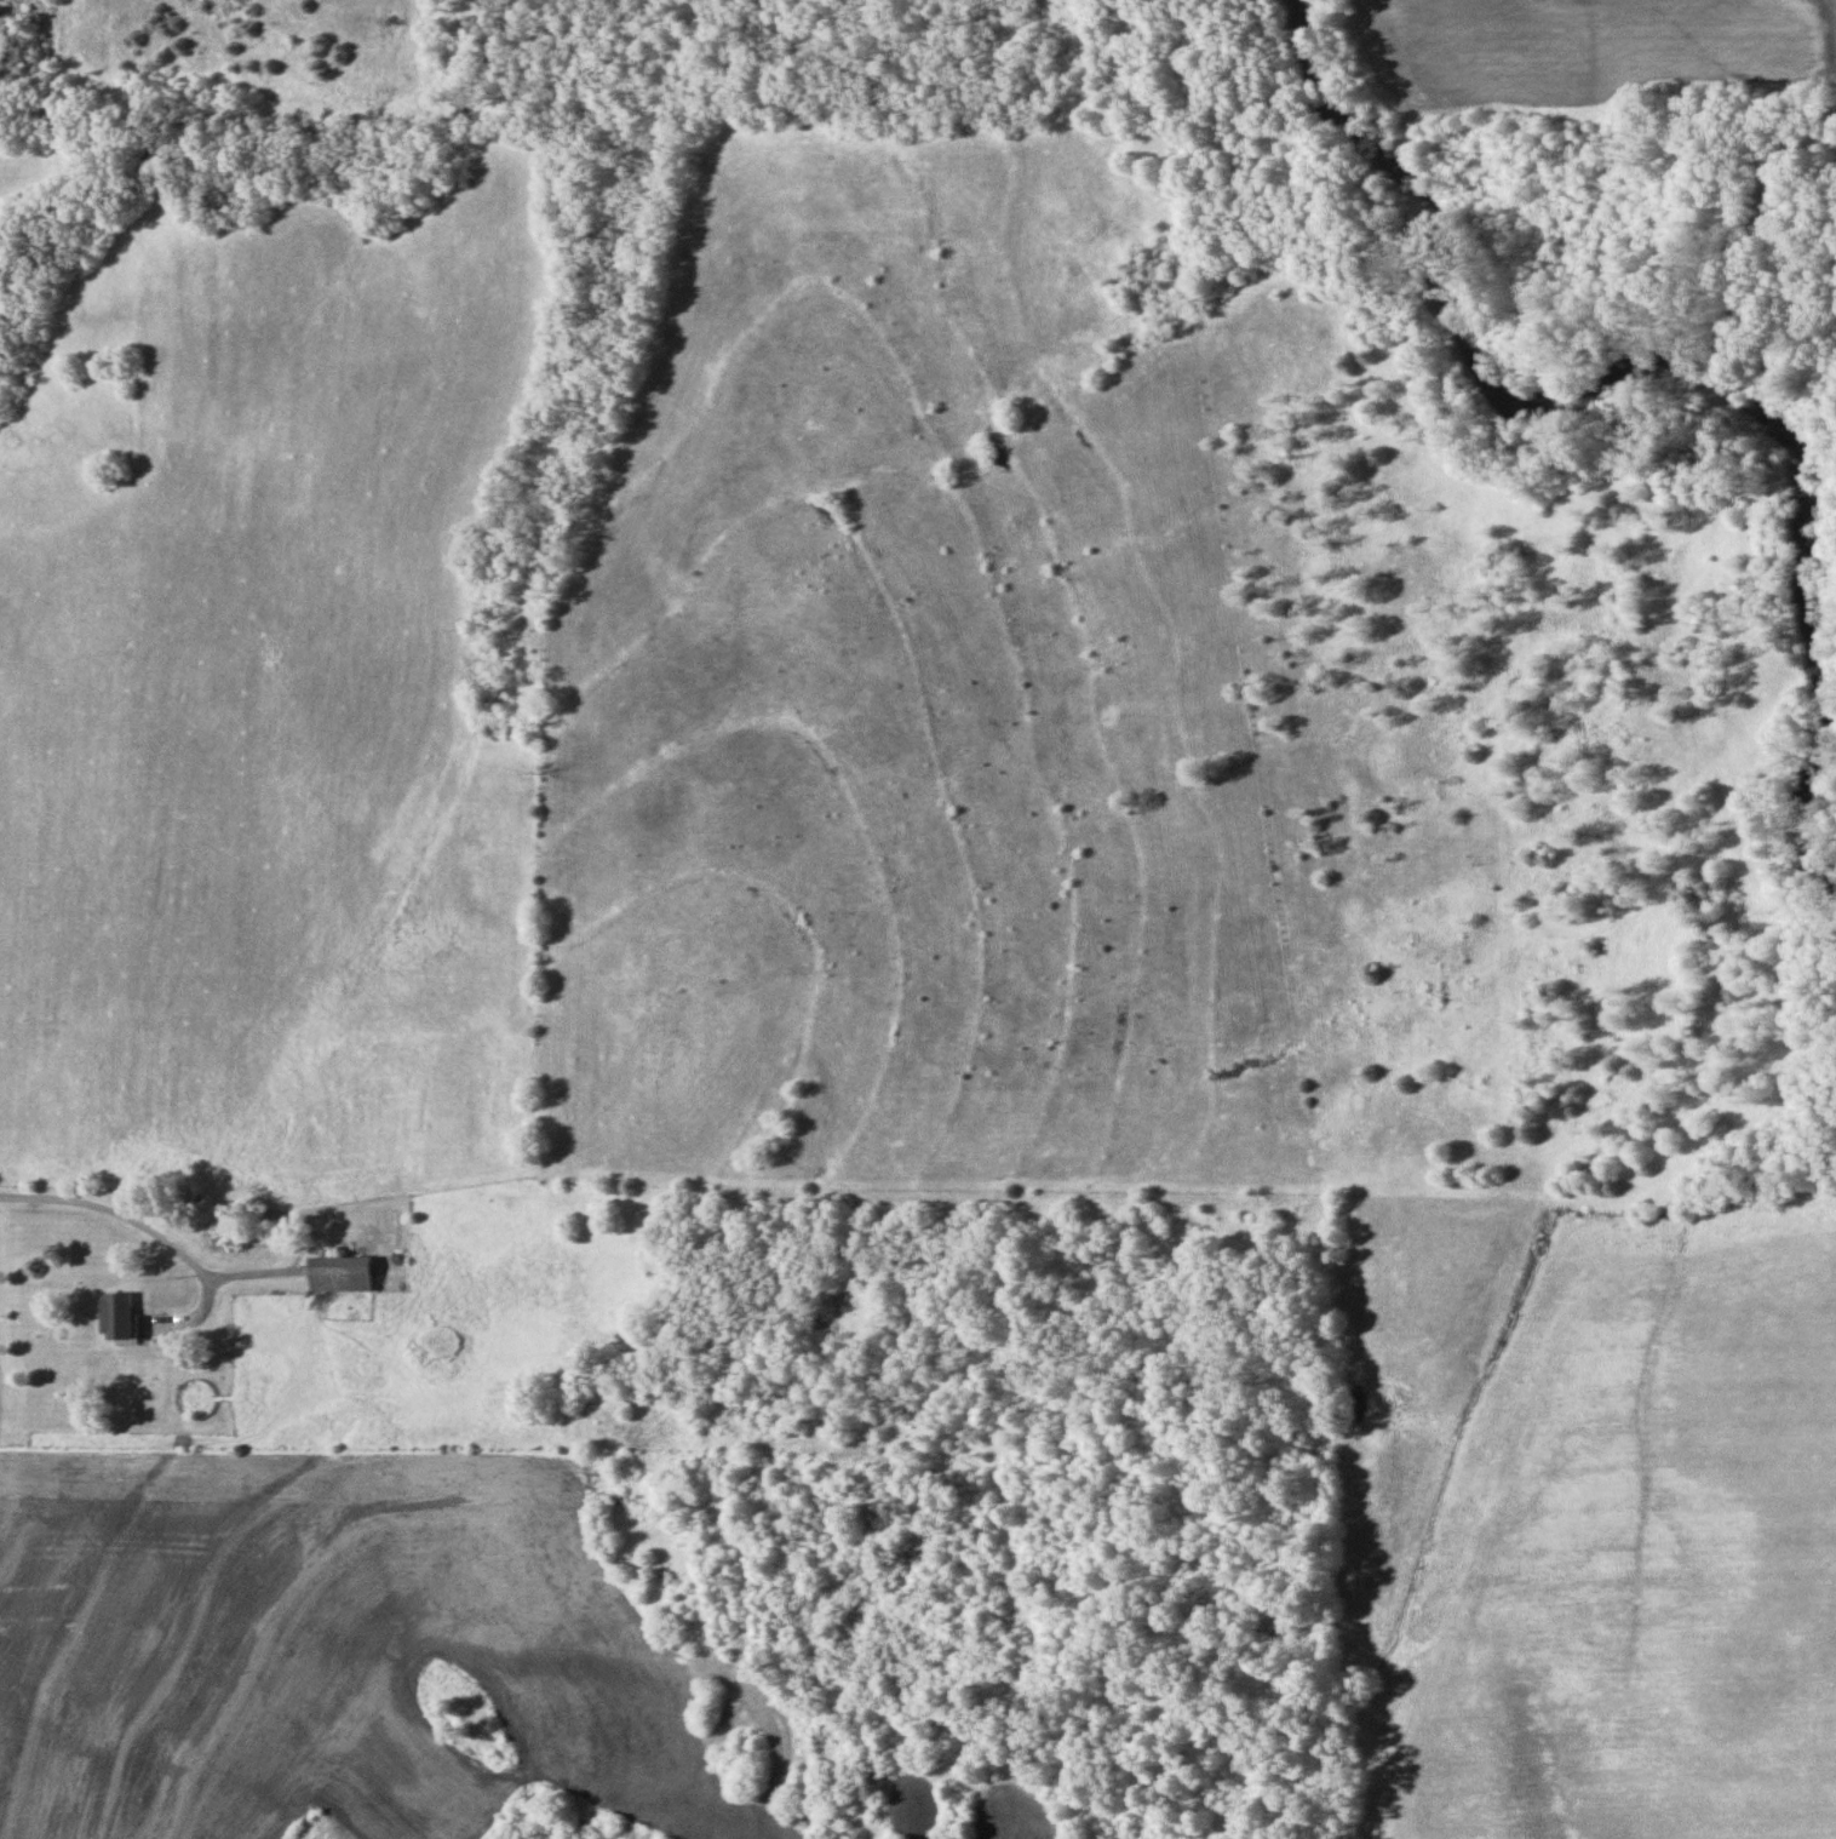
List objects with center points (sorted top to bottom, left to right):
river: (1602, 385)
road: (120, 1215)
building: (345, 1272)
building: (122, 1313)

